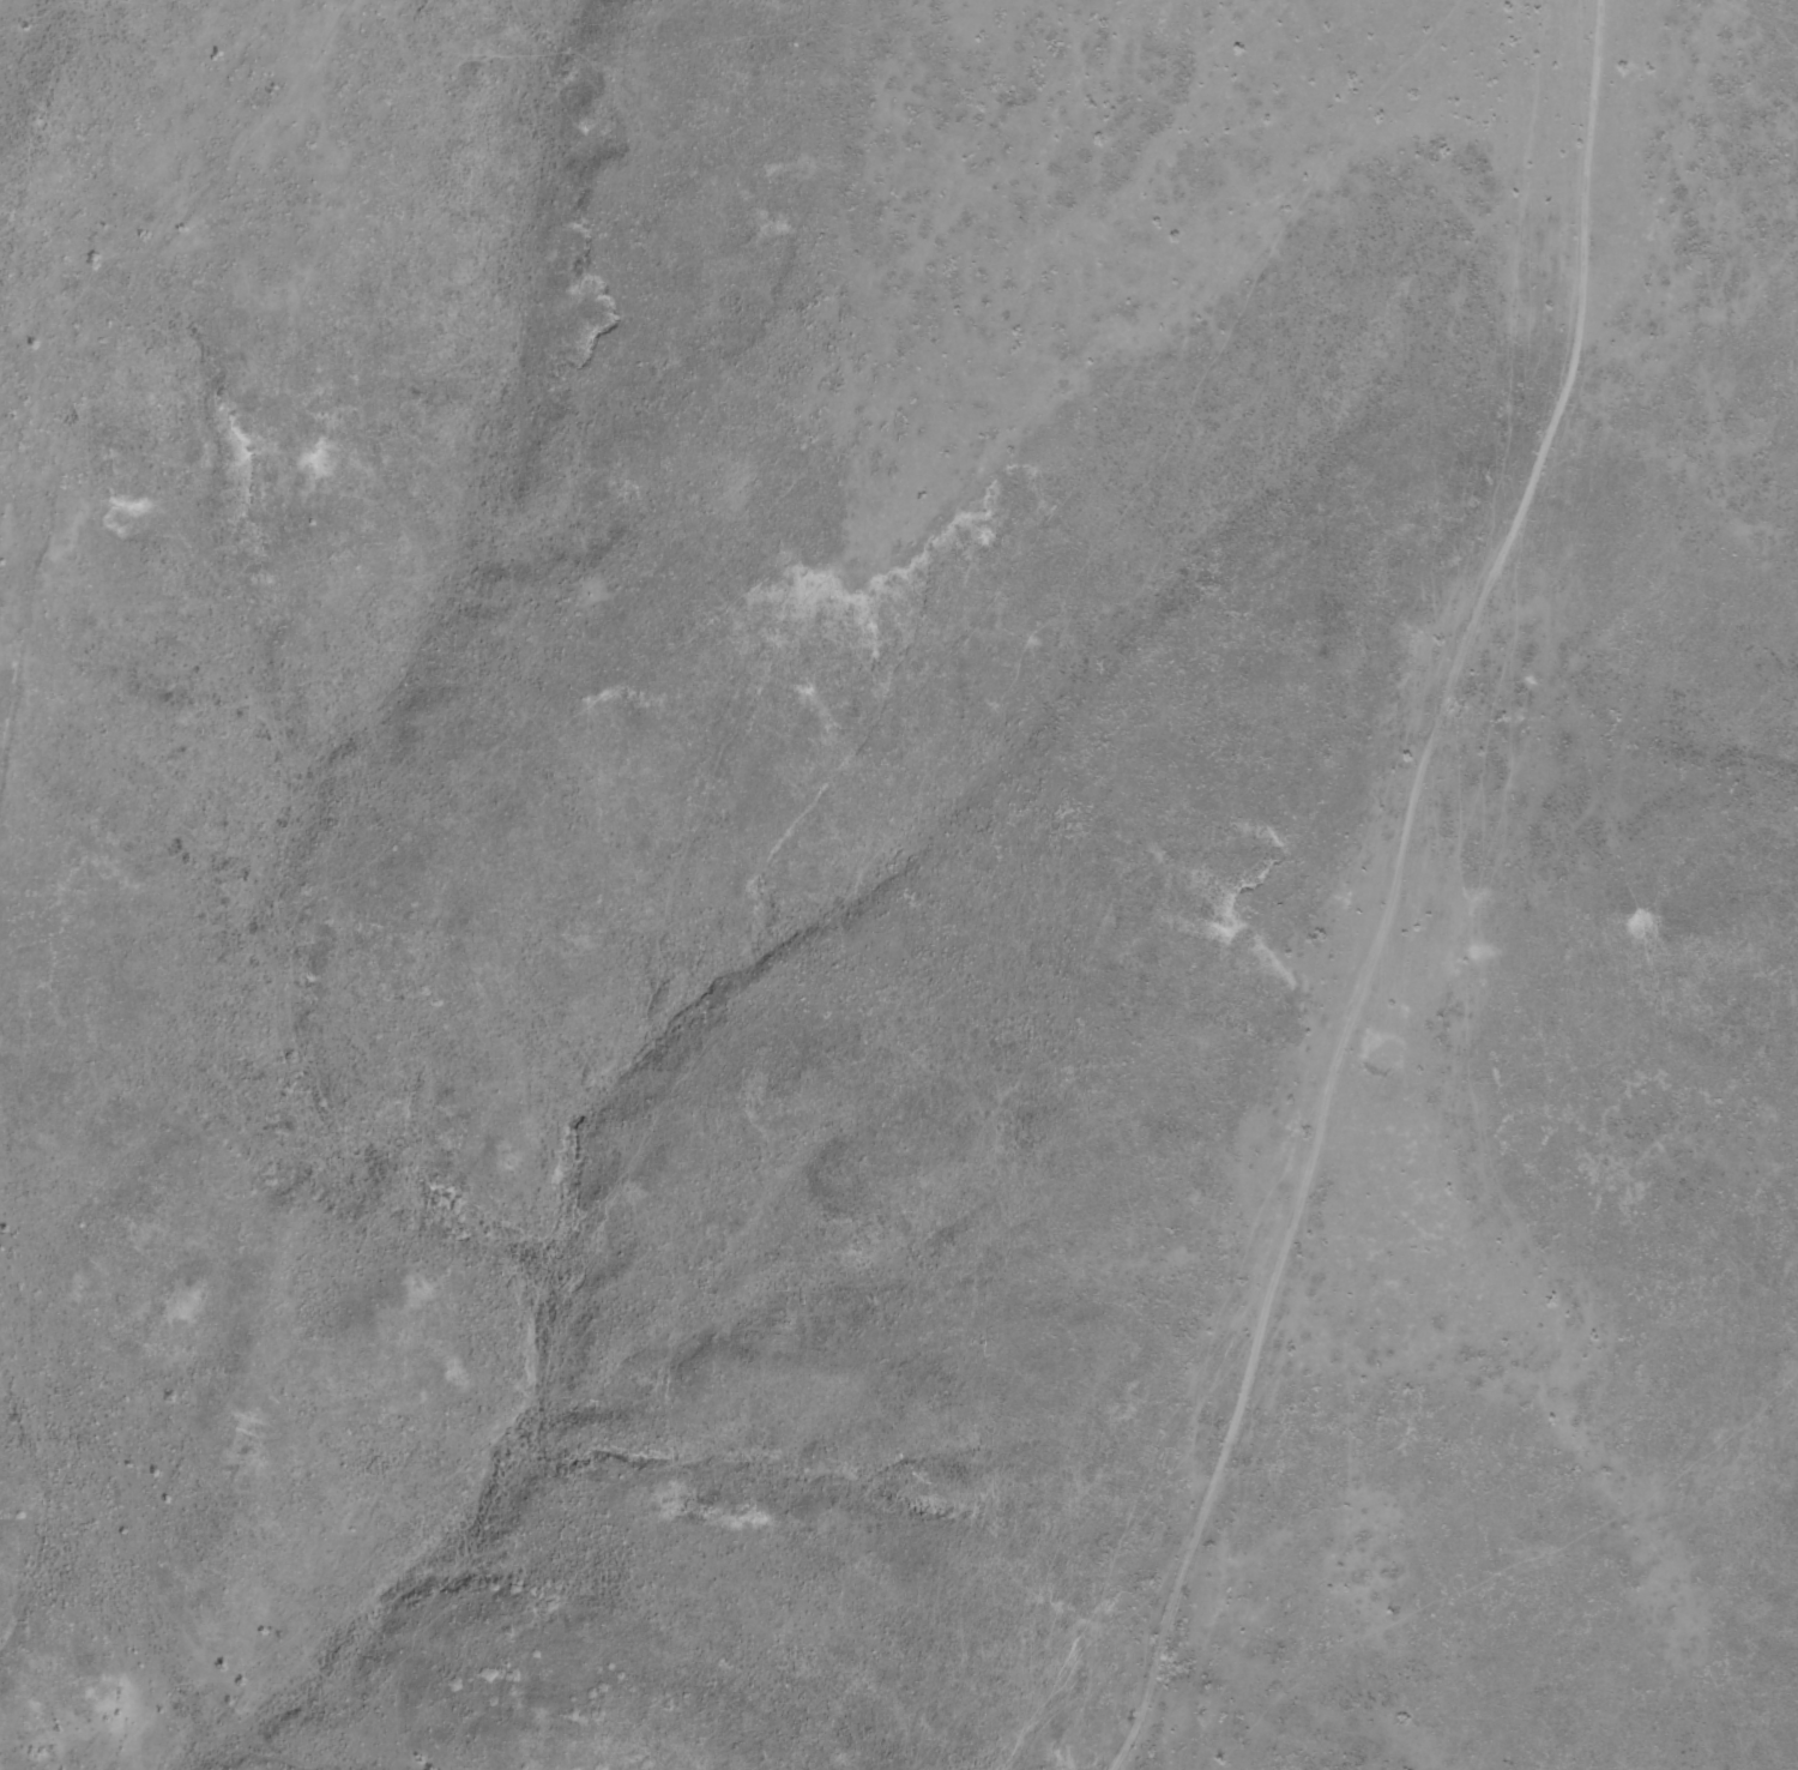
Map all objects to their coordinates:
road: (93, 158)
road: (6, 1349)

